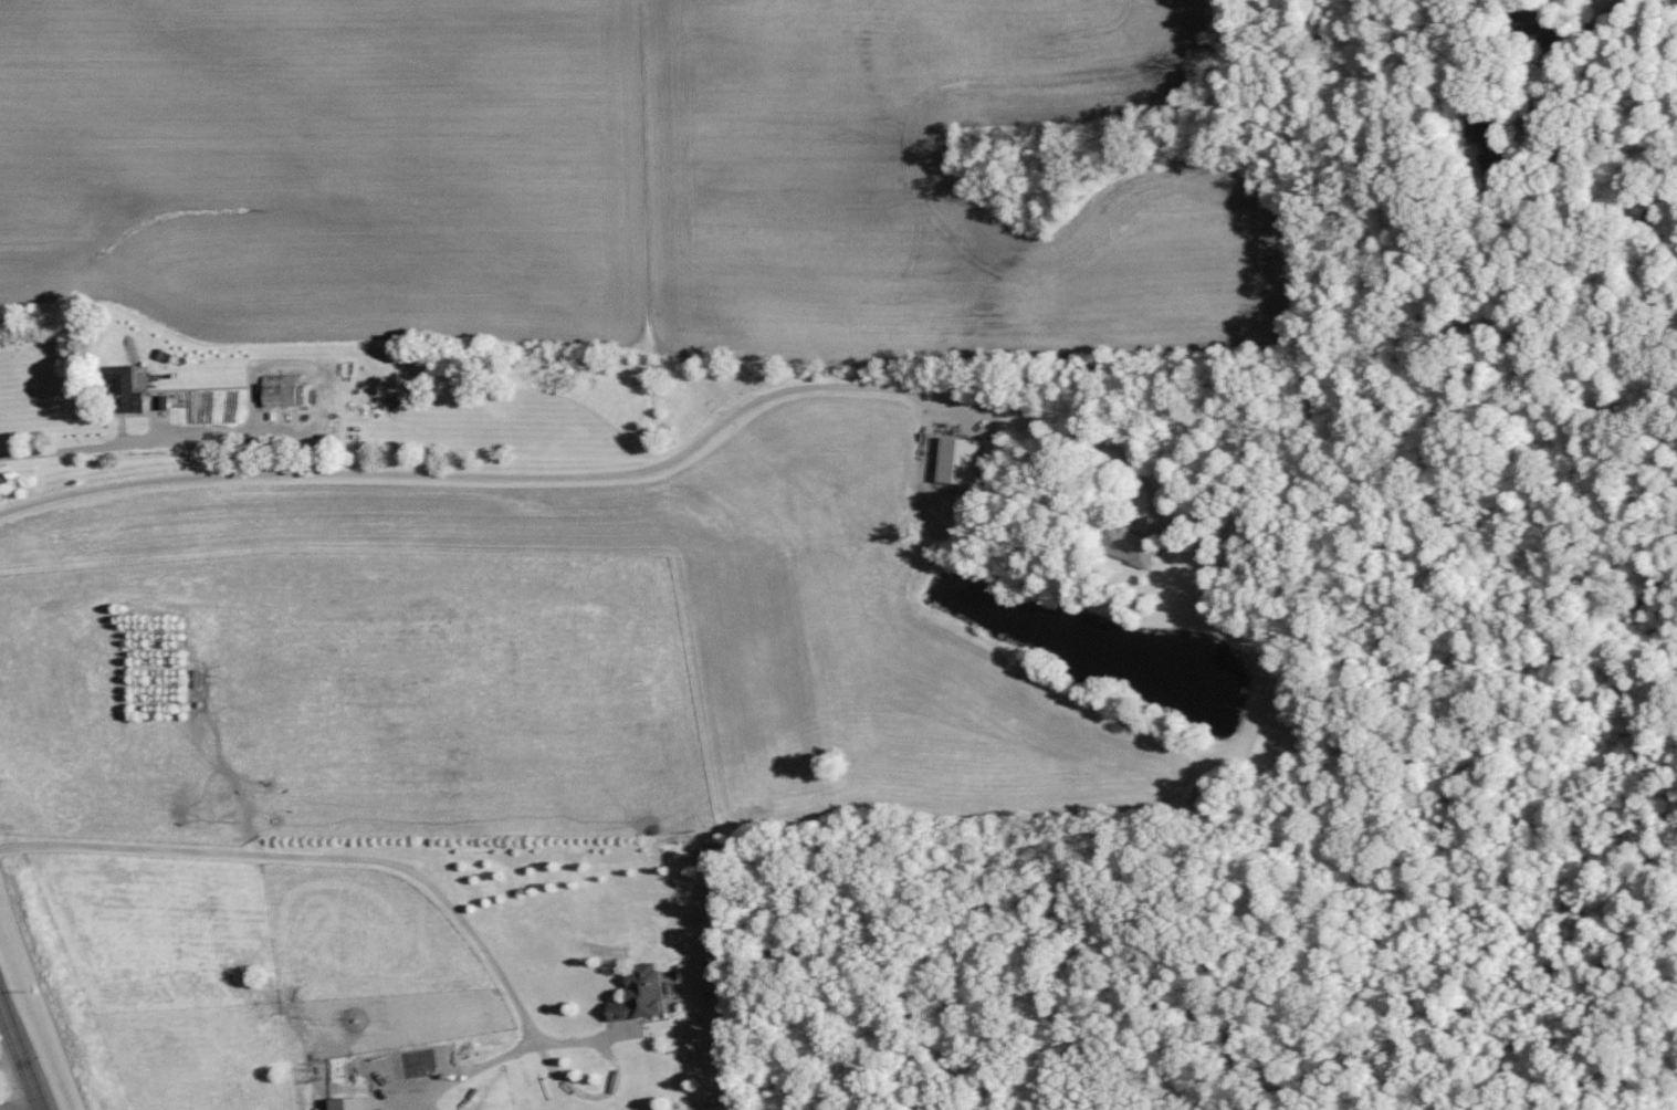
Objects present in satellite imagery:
building: (1488, 138)
building: (130, 388)
building: (285, 391)
road: (76, 449)
building: (963, 461)
road: (607, 474)
building: (1134, 546)
road: (315, 857)
building: (647, 995)
road: (22, 1055)
road: (479, 1069)
road: (617, 1081)
building: (1, 1089)
building: (357, 1103)

